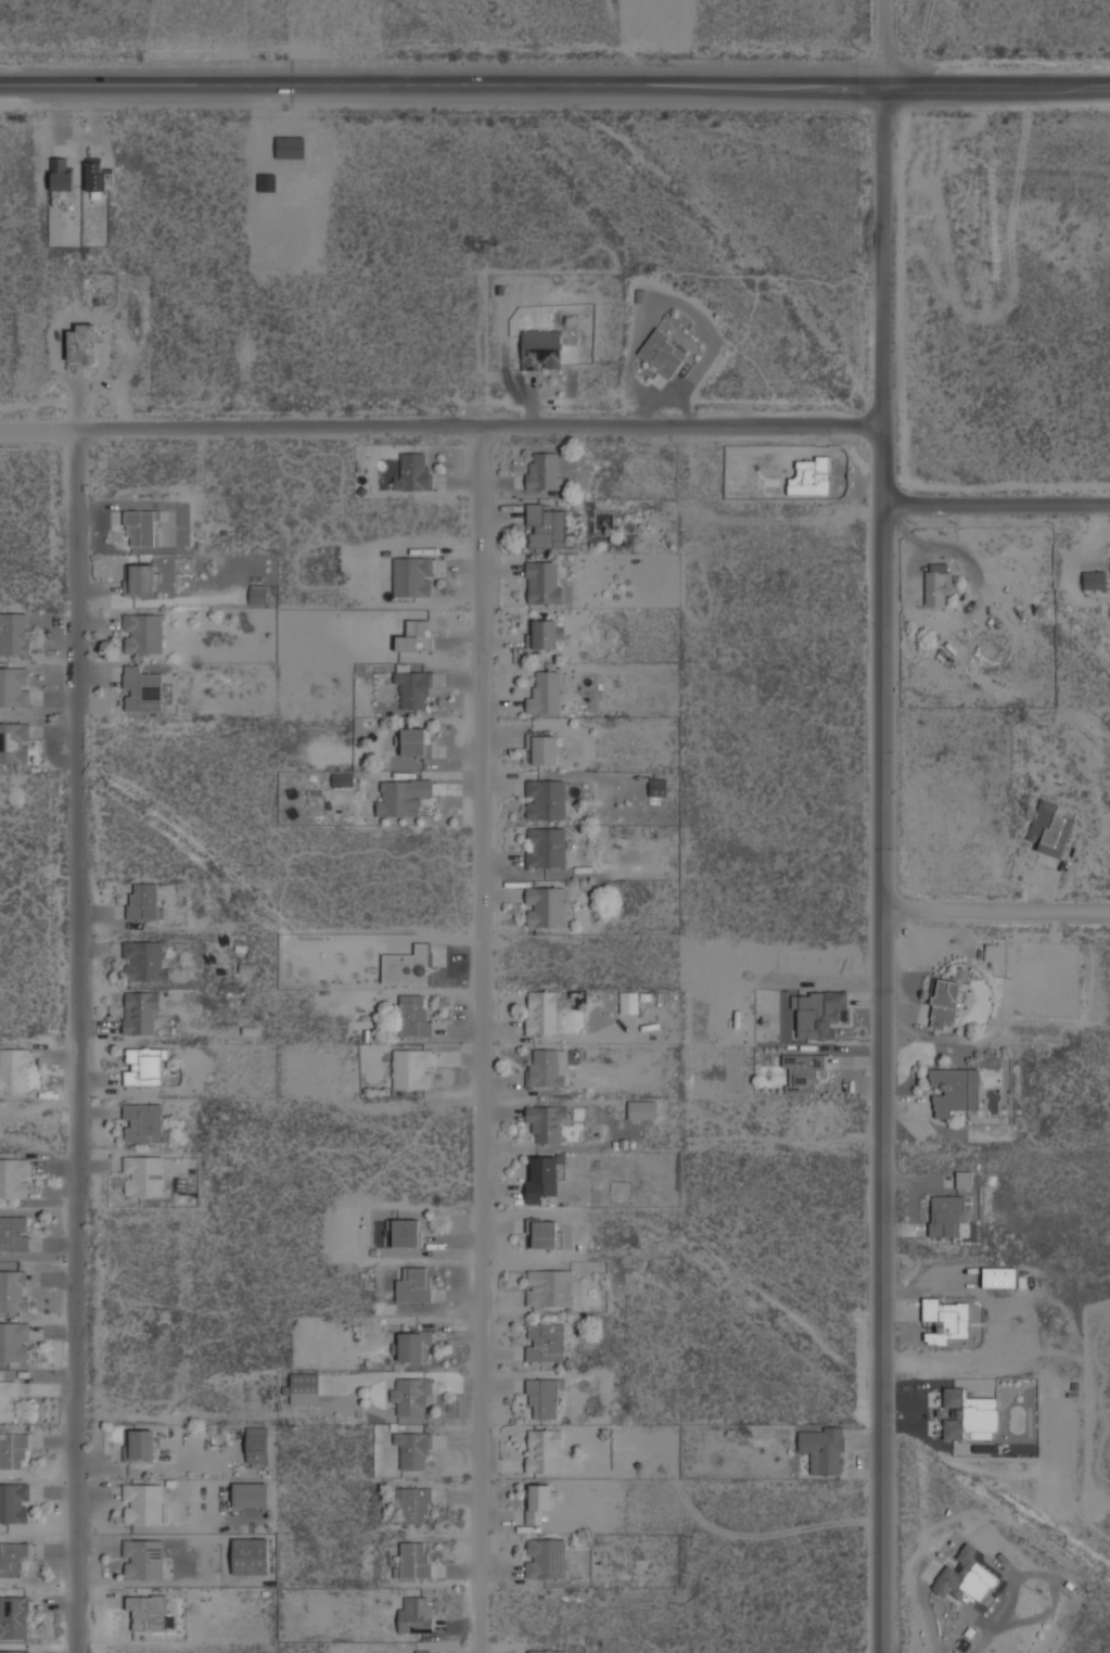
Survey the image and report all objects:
road: (882, 42)
road: (554, 85)
building: (95, 173)
building: (63, 175)
building: (640, 295)
building: (82, 342)
building: (541, 348)
building: (663, 353)
road: (441, 425)
building: (413, 471)
building: (545, 471)
building: (811, 475)
road: (996, 505)
building: (546, 525)
building: (141, 529)
building: (413, 576)
building: (142, 578)
building: (1095, 578)
building: (544, 582)
building: (937, 583)
building: (258, 595)
building: (15, 633)
building: (143, 633)
building: (547, 633)
building: (417, 635)
building: (14, 686)
building: (412, 688)
building: (142, 689)
building: (546, 692)
building: (15, 741)
building: (417, 741)
building: (545, 750)
building: (343, 779)
building: (659, 787)
building: (401, 797)
building: (546, 799)
building: (1052, 826)
building: (546, 847)
road: (882, 869)
building: (144, 902)
building: (547, 907)
road: (996, 910)
building: (144, 961)
building: (629, 1002)
building: (945, 1002)
building: (141, 1012)
building: (544, 1013)
building: (819, 1013)
building: (418, 1017)
road: (480, 1039)
road: (76, 1041)
building: (143, 1066)
building: (545, 1068)
building: (15, 1069)
building: (412, 1069)
building: (804, 1071)
building: (955, 1090)
building: (641, 1109)
building: (547, 1122)
building: (144, 1123)
building: (144, 1175)
building: (544, 1177)
building: (14, 1178)
building: (964, 1178)
building: (946, 1217)
building: (406, 1232)
building: (13, 1233)
building: (545, 1234)
building: (999, 1276)
building: (416, 1285)
building: (549, 1287)
building: (14, 1290)
building: (946, 1318)
building: (546, 1342)
building: (15, 1343)
building: (412, 1346)
building: (304, 1388)
building: (410, 1394)
building: (544, 1396)
building: (9, 1399)
building: (969, 1414)
building: (140, 1444)
building: (257, 1446)
building: (412, 1448)
building: (824, 1448)
building: (14, 1450)
building: (544, 1450)
building: (251, 1495)
building: (14, 1502)
building: (142, 1502)
building: (537, 1503)
building: (414, 1504)
building: (250, 1555)
building: (13, 1557)
building: (545, 1557)
building: (142, 1559)
building: (414, 1560)
building: (965, 1577)
building: (146, 1612)
building: (416, 1613)
building: (14, 1616)
building: (14, 1651)
building: (422, 1651)
building: (546, 1651)

